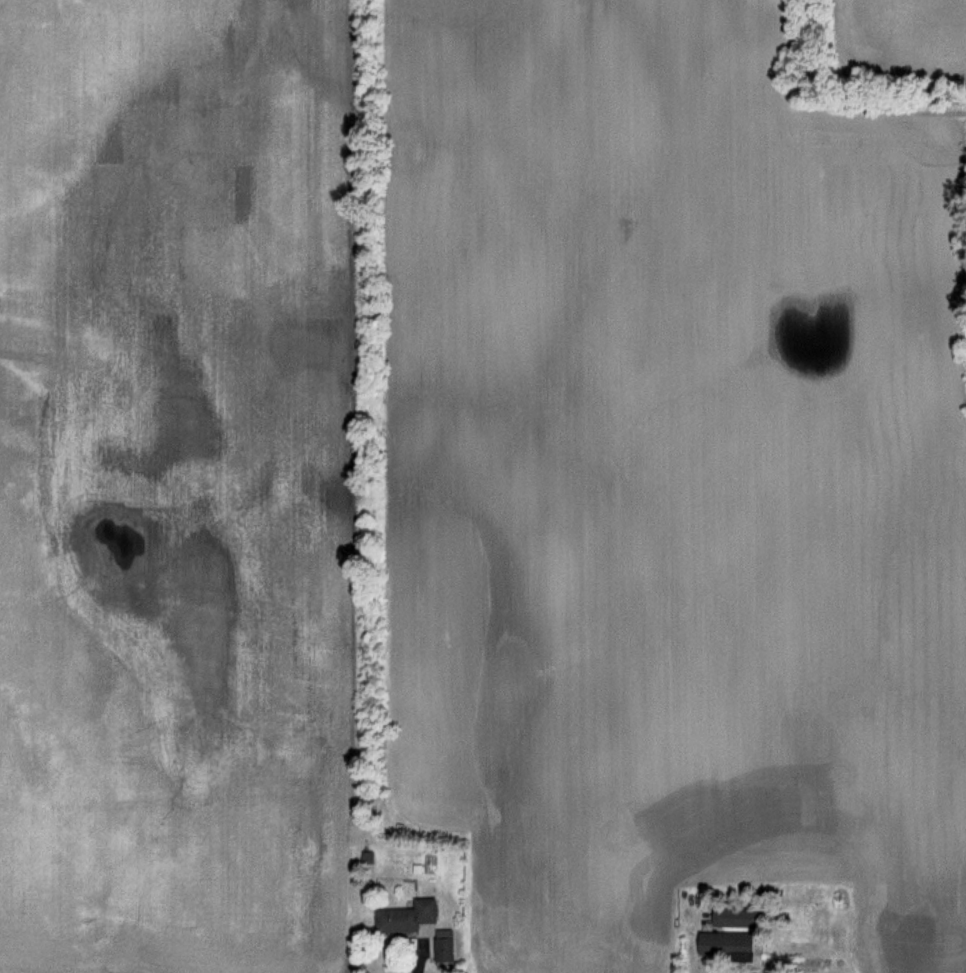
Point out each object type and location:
building: (730, 916)
building: (403, 917)
building: (720, 943)
building: (442, 946)

